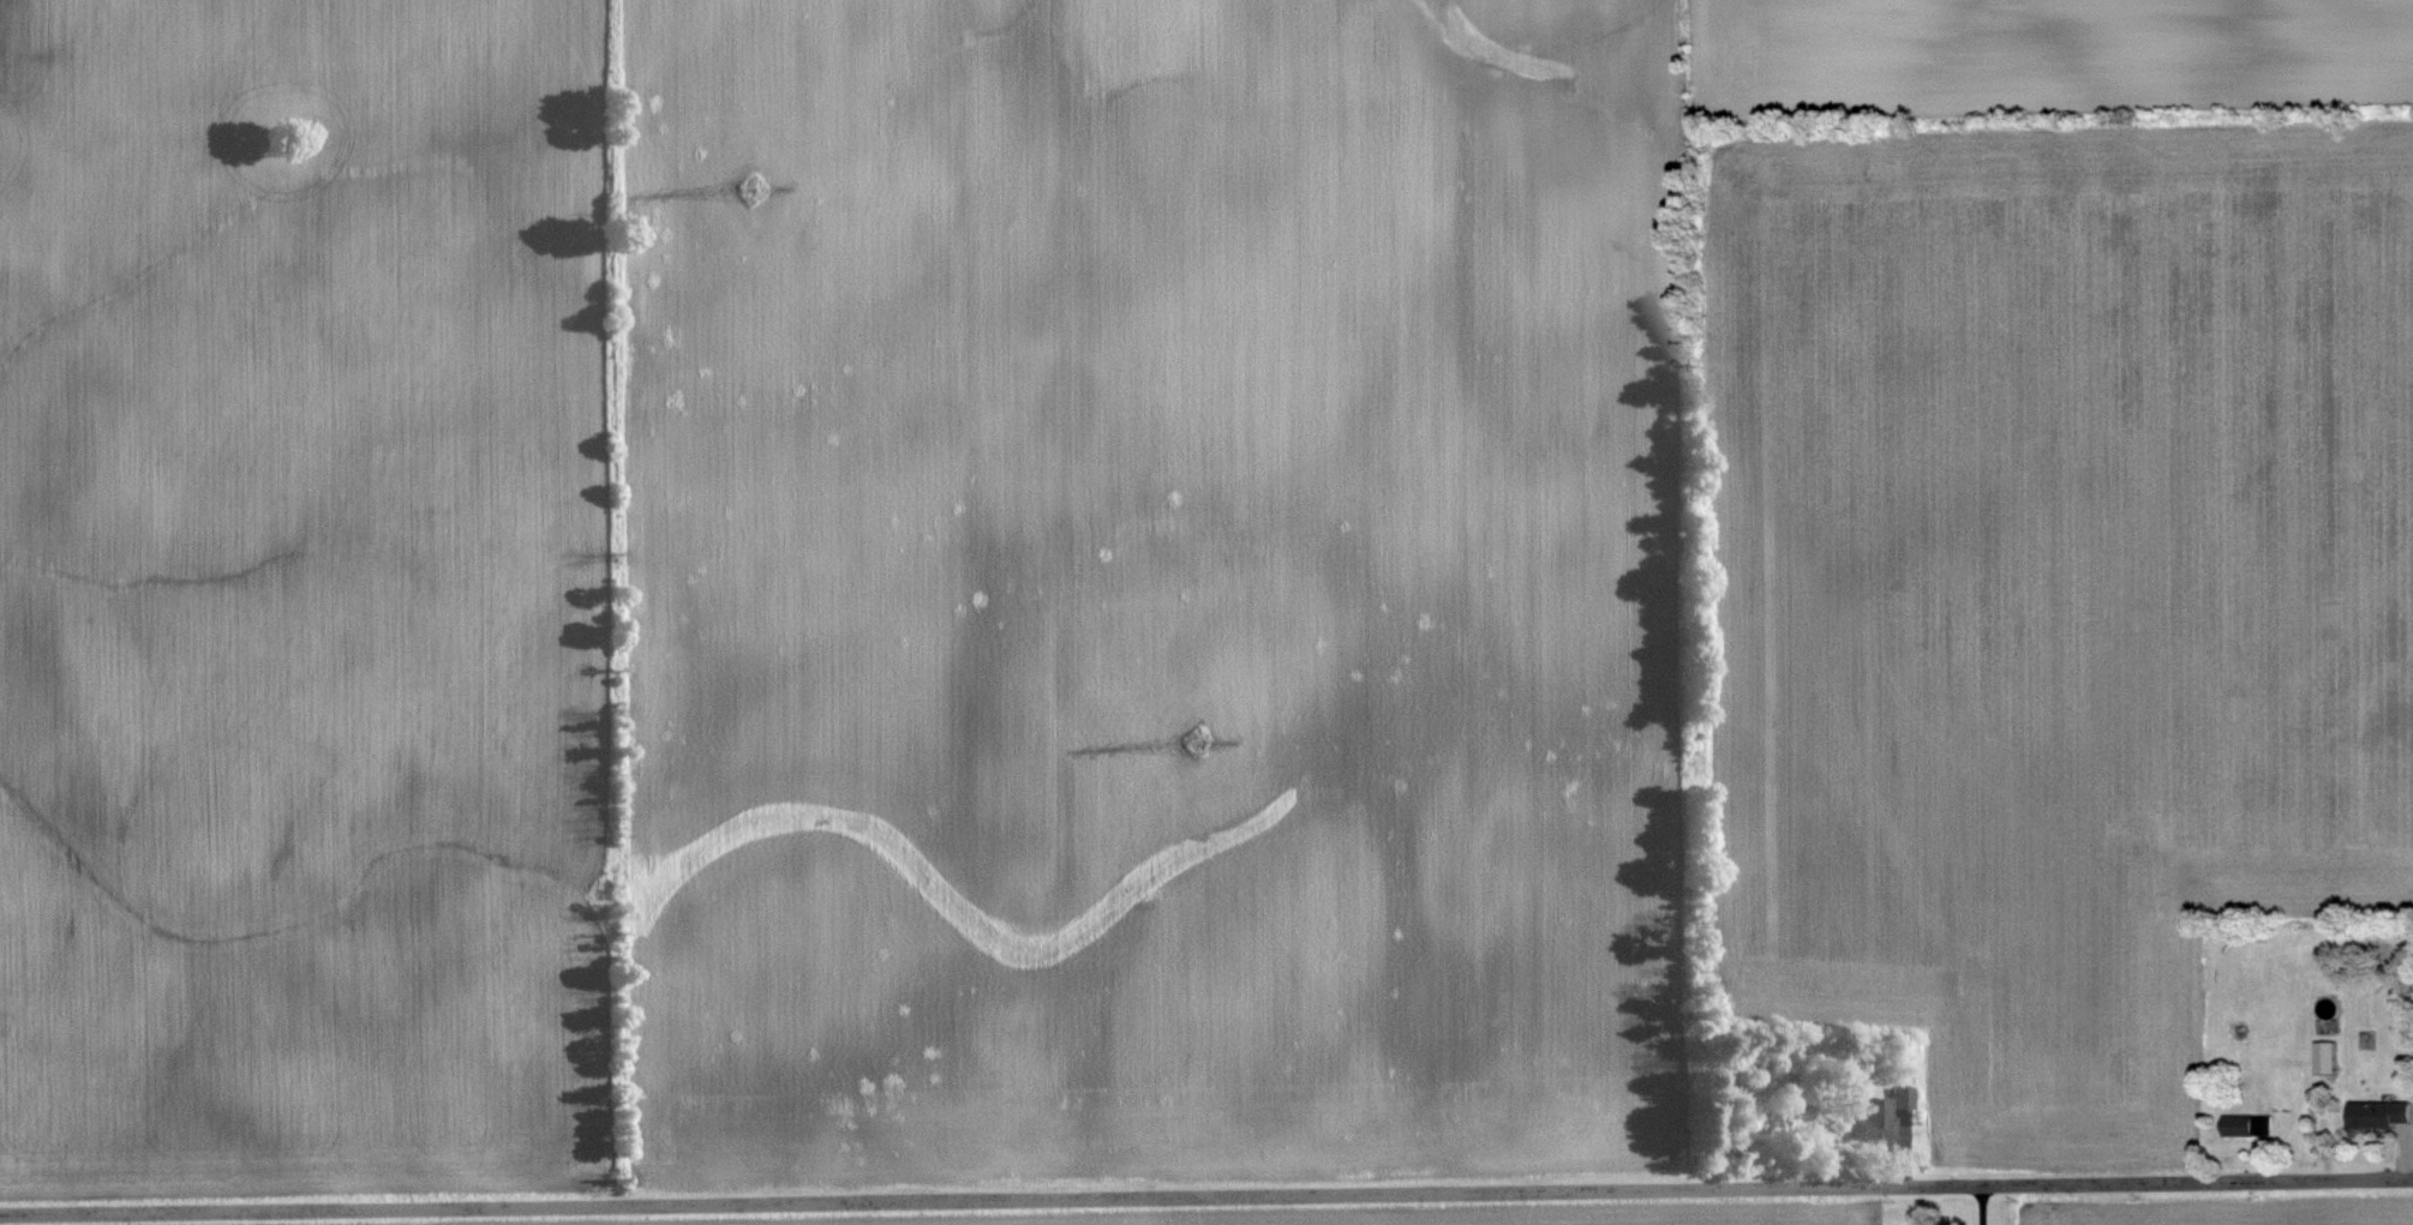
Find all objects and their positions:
power tower: (764, 184)
power tower: (1196, 745)
building: (2329, 1057)
building: (1903, 1097)
building: (1876, 1111)
building: (2381, 1113)
building: (2247, 1127)
road: (1205, 1195)
road: (1984, 1205)

